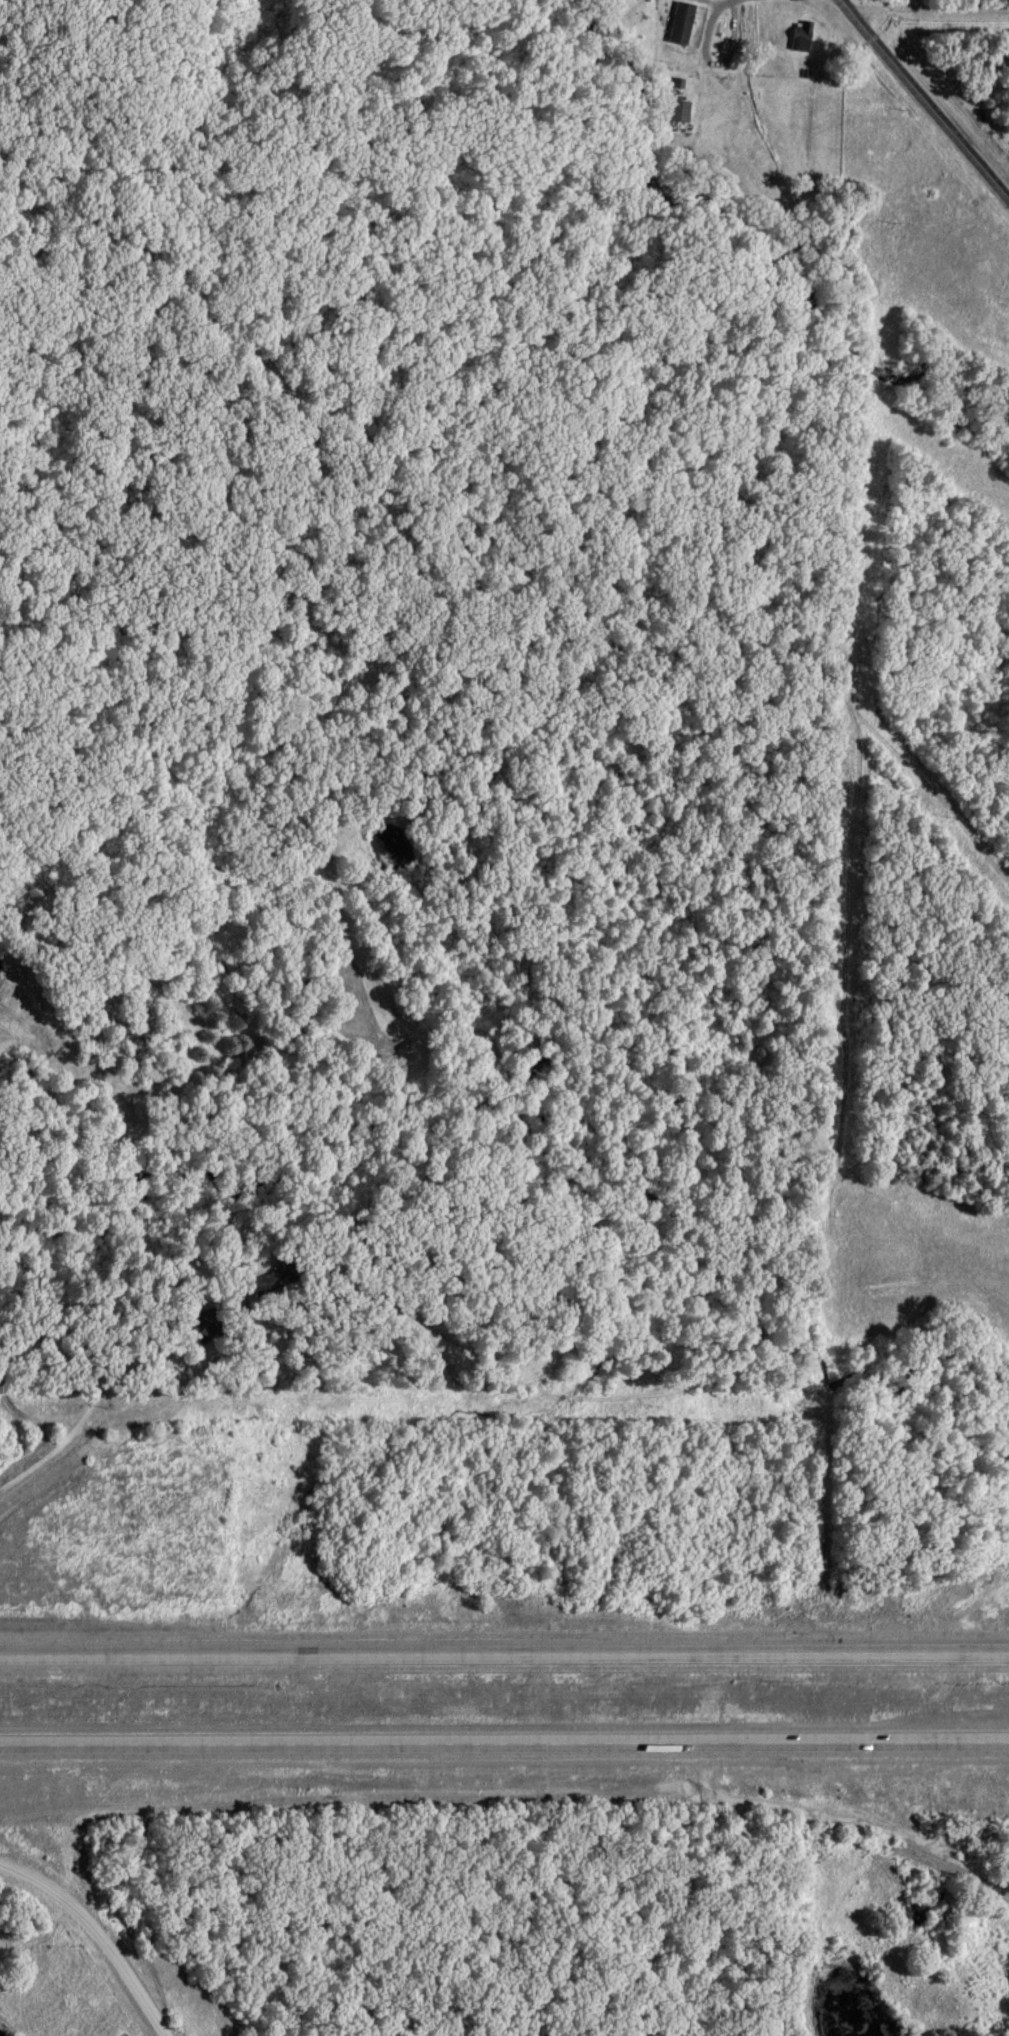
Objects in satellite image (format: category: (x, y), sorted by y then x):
road: (950, 57)
road: (924, 96)
building: (682, 111)
building: (282, 1281)
building: (209, 1328)
road: (68, 1446)
road: (504, 1655)
road: (504, 1742)
road: (847, 1827)
road: (99, 1930)

